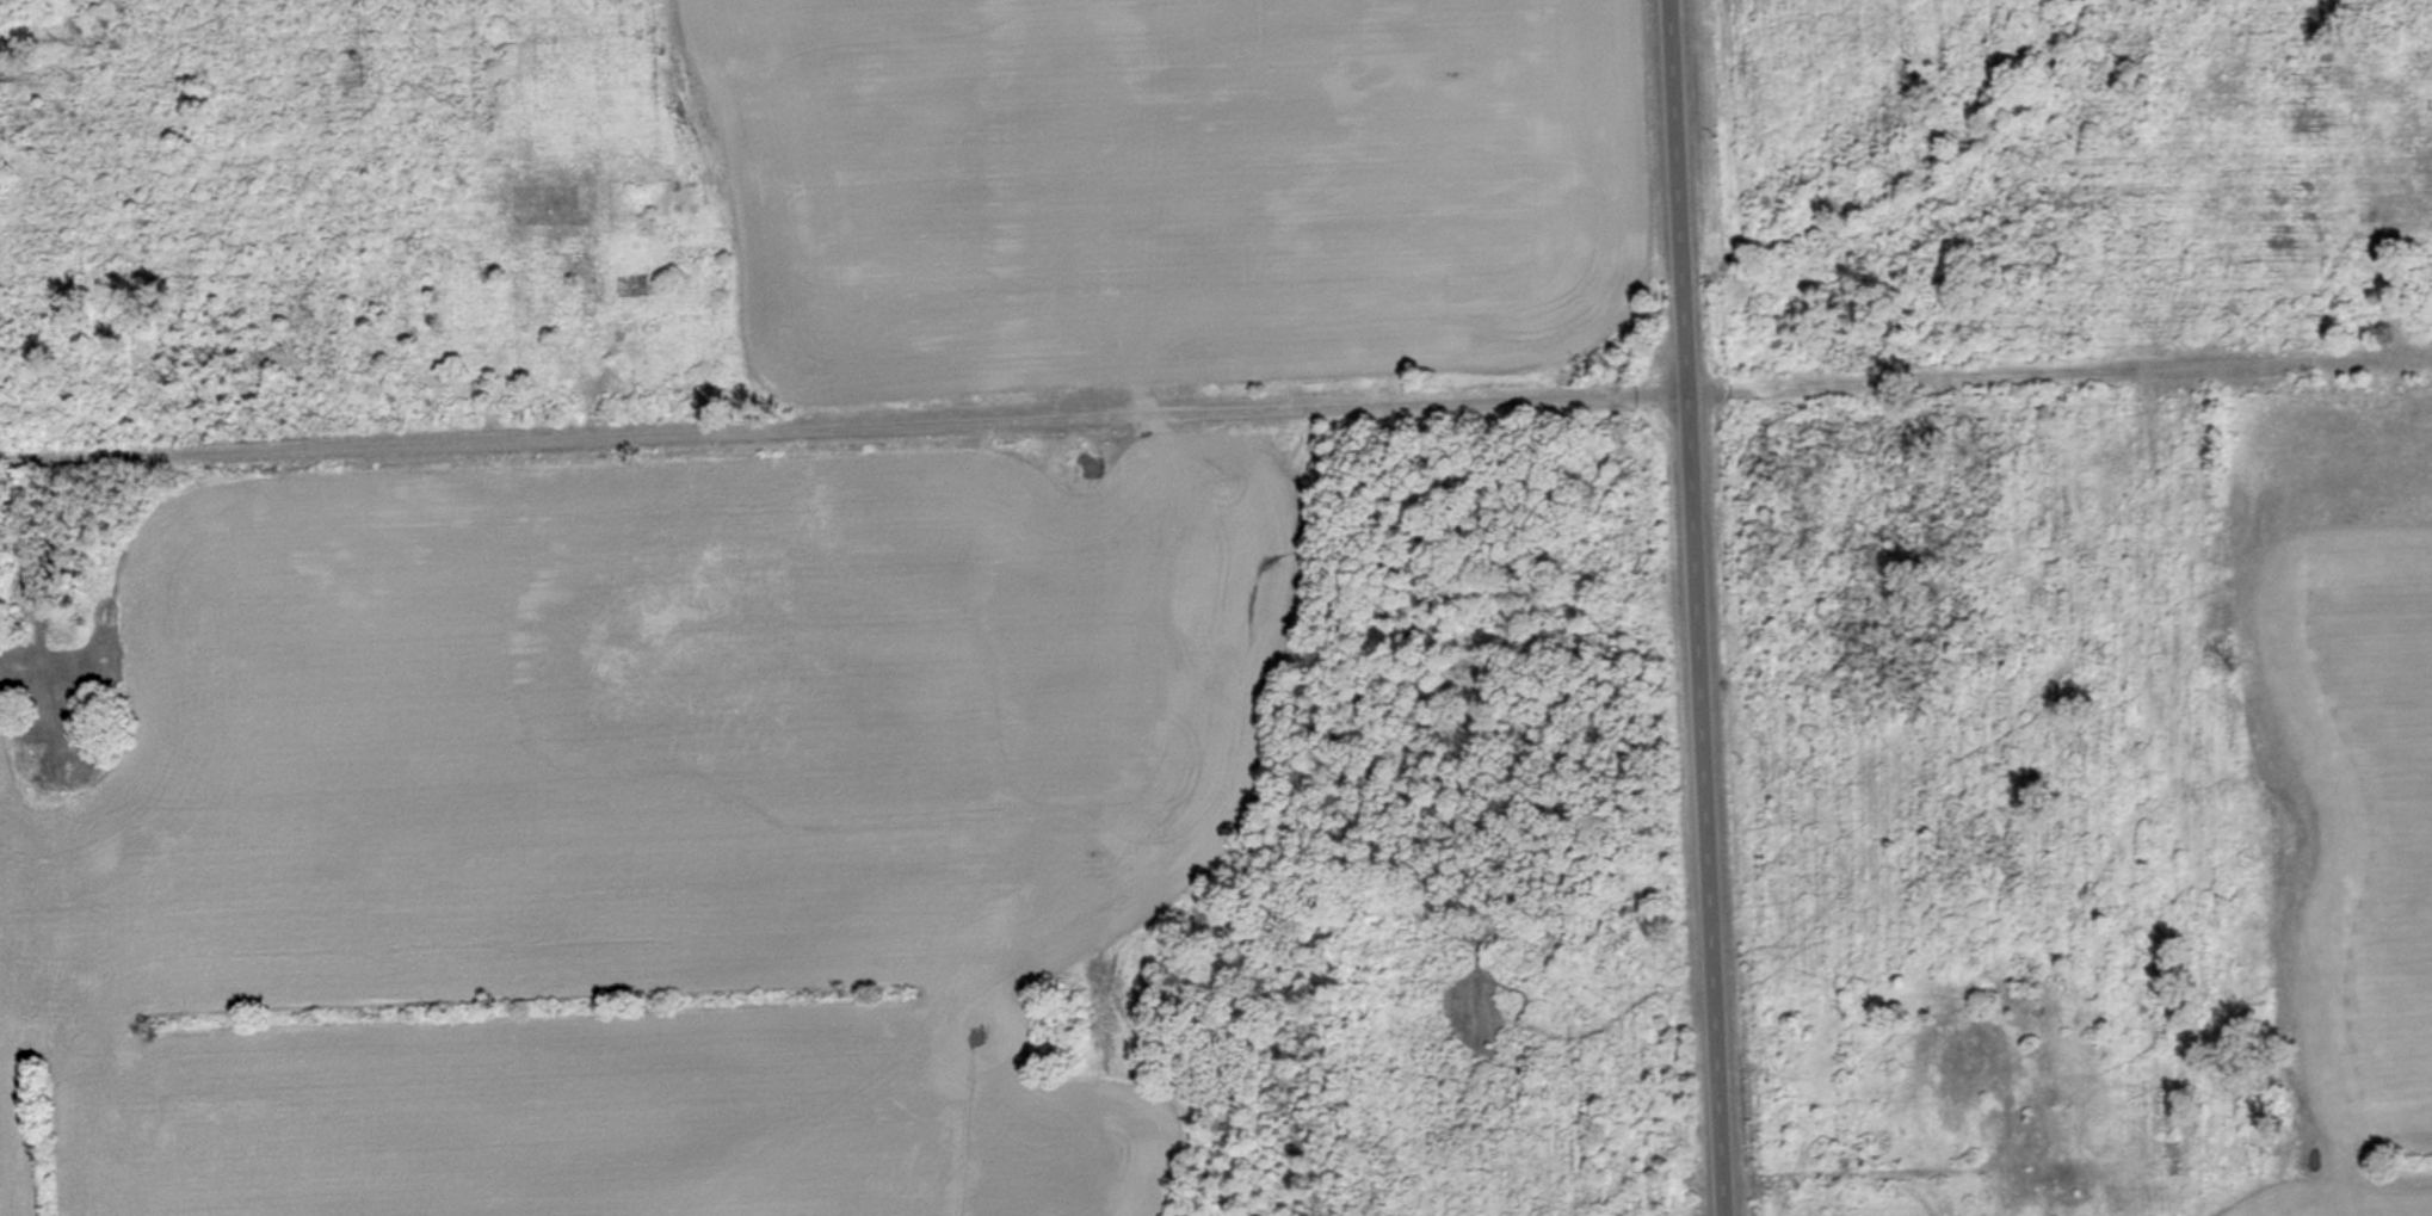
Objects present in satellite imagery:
road: (842, 426)
road: (1696, 607)

